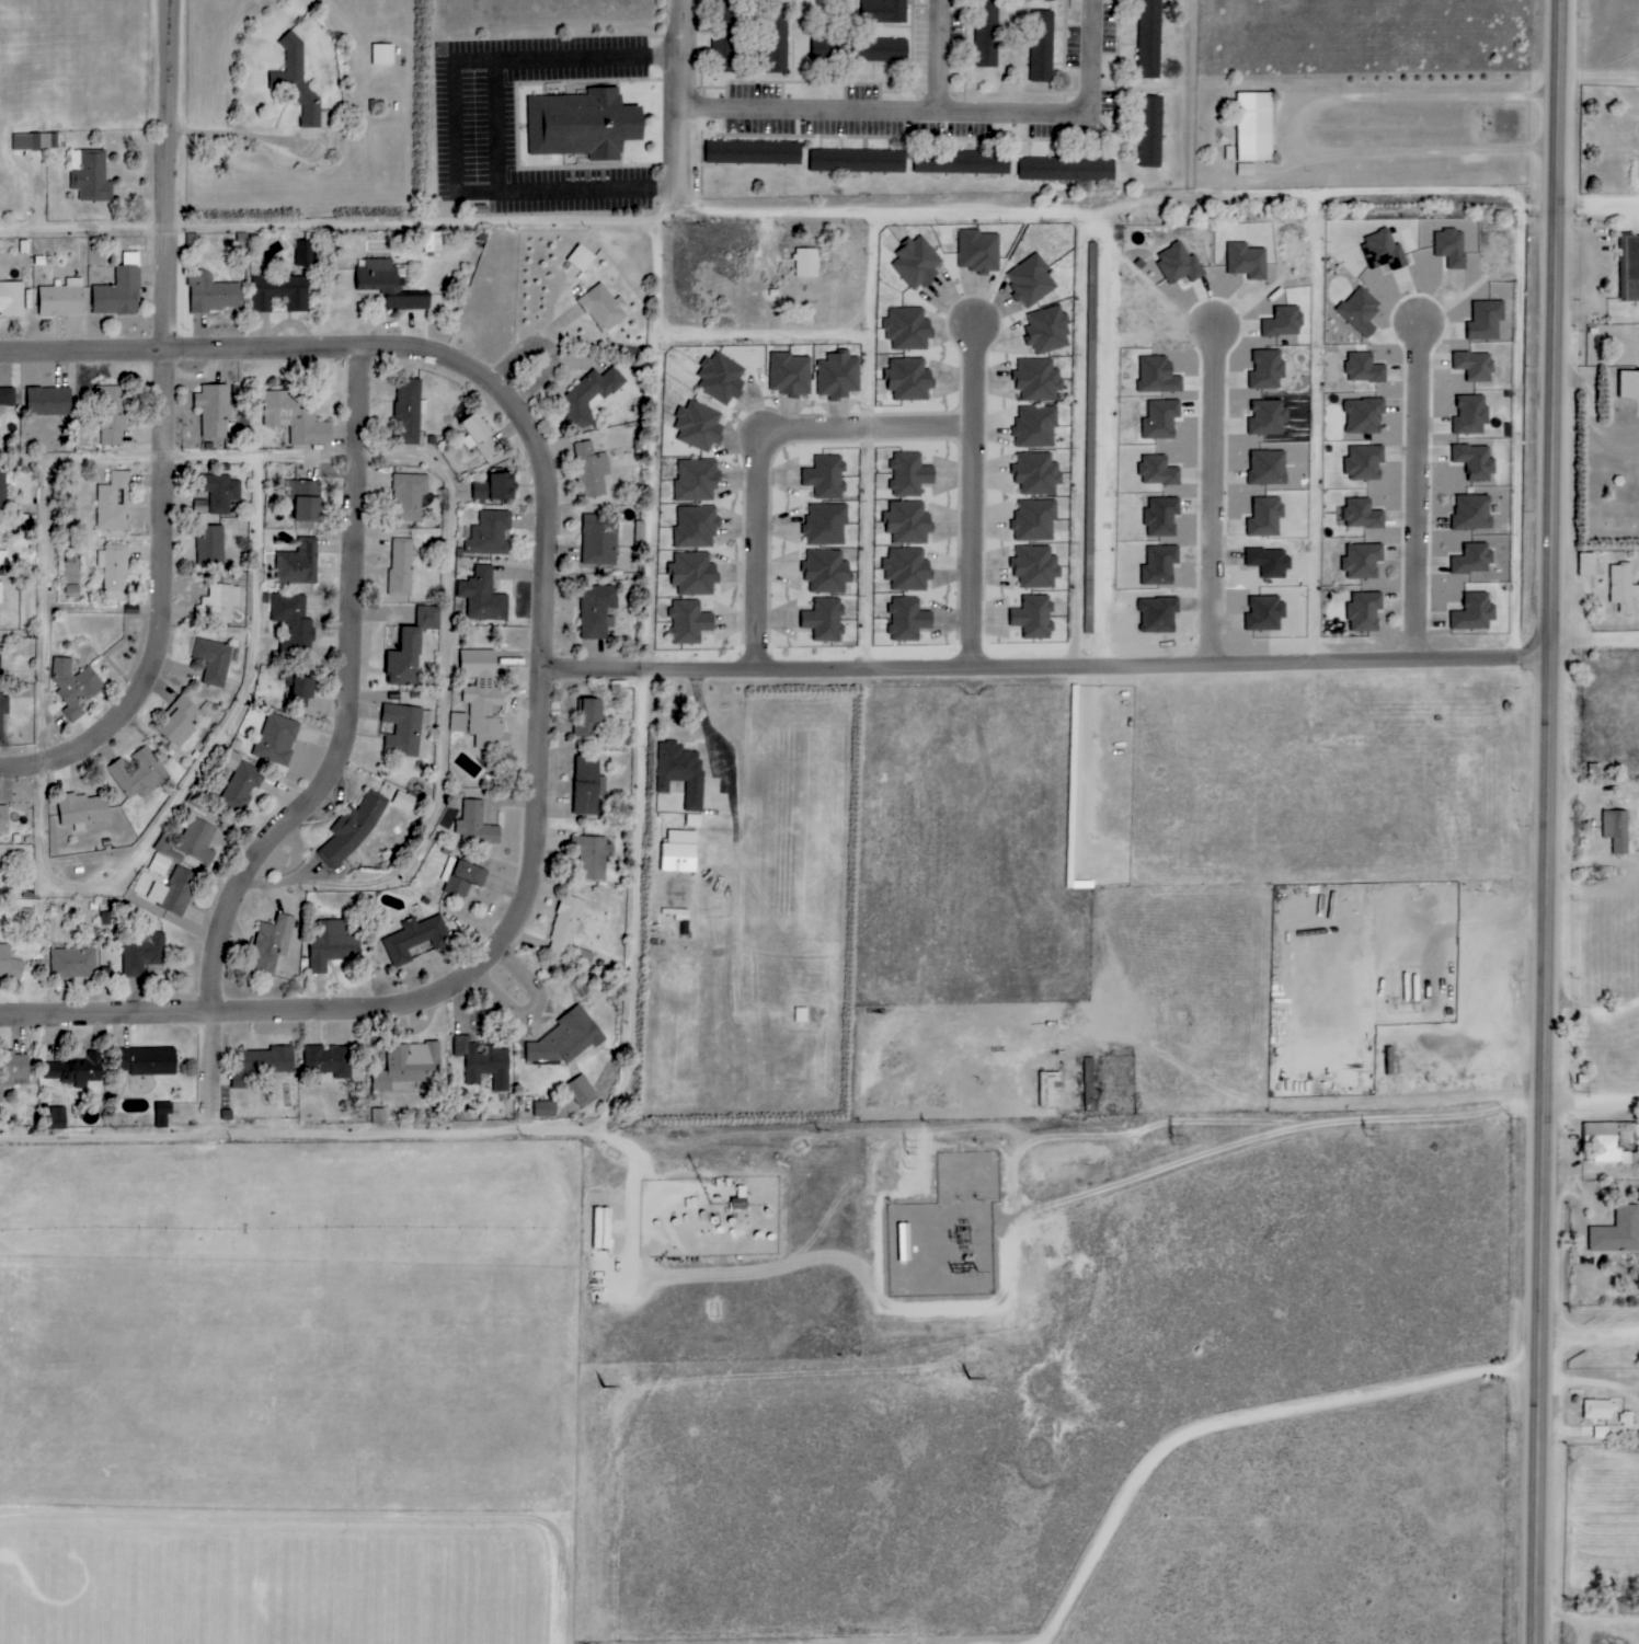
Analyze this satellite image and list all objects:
building: (1044, 0)
building: (885, 11)
building: (987, 33)
building: (723, 36)
building: (1149, 38)
building: (1042, 46)
building: (382, 55)
road: (949, 57)
building: (298, 82)
road: (686, 105)
road: (955, 115)
road: (494, 119)
building: (583, 125)
building: (1254, 127)
road: (1316, 127)
building: (1151, 131)
road: (247, 139)
building: (48, 141)
building: (25, 142)
building: (753, 152)
building: (858, 161)
building: (962, 162)
building: (1067, 170)
building: (90, 175)
road: (1602, 208)
road: (896, 217)
road: (342, 230)
building: (433, 242)
building: (1451, 248)
building: (979, 251)
building: (1384, 251)
building: (305, 253)
building: (1247, 261)
building: (806, 263)
building: (918, 263)
building: (1179, 264)
building: (1631, 266)
building: (1031, 280)
building: (390, 286)
building: (119, 290)
building: (213, 294)
building: (280, 294)
building: (11, 299)
building: (61, 299)
building: (603, 308)
building: (1361, 310)
building: (1486, 320)
building: (1284, 322)
building: (908, 329)
building: (1048, 331)
road: (554, 345)
road: (184, 350)
road: (435, 352)
building: (1475, 366)
building: (1364, 368)
building: (1267, 370)
building: (790, 375)
building: (838, 376)
building: (1157, 376)
building: (721, 378)
building: (909, 380)
building: (1038, 380)
building: (1629, 384)
building: (589, 395)
building: (7, 398)
building: (48, 401)
building: (214, 410)
building: (409, 411)
building: (114, 415)
building: (1471, 415)
building: (1364, 416)
building: (297, 417)
building: (1268, 417)
building: (1161, 419)
building: (698, 426)
building: (1036, 426)
road: (171, 437)
building: (478, 437)
road: (1107, 438)
building: (1092, 445)
road: (756, 447)
road: (57, 460)
building: (1364, 462)
building: (1476, 462)
building: (1268, 468)
building: (224, 469)
building: (592, 471)
building: (1158, 471)
building: (1036, 474)
building: (909, 475)
building: (826, 478)
building: (697, 480)
building: (495, 488)
building: (2, 493)
road: (1417, 493)
building: (218, 494)
road: (970, 495)
building: (410, 497)
road: (1211, 497)
building: (306, 501)
building: (114, 504)
building: (1472, 513)
building: (1363, 514)
building: (1161, 517)
building: (1265, 517)
building: (1035, 520)
building: (908, 524)
building: (826, 525)
building: (697, 527)
building: (490, 534)
building: (600, 540)
building: (210, 545)
building: (3, 557)
building: (1475, 560)
building: (1363, 561)
building: (298, 564)
building: (1160, 565)
building: (1588, 565)
building: (401, 567)
building: (1036, 567)
building: (907, 570)
building: (113, 571)
building: (826, 572)
building: (694, 574)
building: (1623, 587)
building: (1, 593)
building: (482, 598)
building: (218, 605)
building: (597, 611)
building: (1365, 611)
building: (1475, 613)
building: (428, 618)
building: (1034, 618)
building: (825, 620)
building: (908, 620)
building: (294, 621)
building: (689, 622)
road: (1598, 646)
building: (215, 660)
building: (404, 660)
road: (1053, 670)
road: (642, 682)
building: (73, 687)
building: (301, 691)
road: (360, 702)
building: (482, 702)
building: (3, 710)
building: (588, 718)
building: (181, 724)
building: (406, 732)
building: (276, 740)
building: (683, 773)
building: (139, 775)
building: (242, 786)
building: (588, 786)
building: (404, 802)
building: (82, 809)
building: (3, 819)
road: (1555, 821)
building: (478, 826)
building: (353, 828)
building: (1617, 830)
building: (198, 841)
building: (679, 852)
building: (592, 857)
building: (159, 865)
building: (462, 877)
building: (149, 888)
building: (180, 893)
road: (529, 920)
building: (564, 929)
building: (415, 940)
building: (271, 944)
building: (333, 945)
building: (142, 953)
building: (9, 964)
building: (73, 964)
road: (1441, 986)
road: (542, 1013)
building: (566, 1038)
building: (329, 1060)
building: (153, 1061)
building: (483, 1062)
building: (263, 1064)
building: (408, 1065)
building: (12, 1069)
building: (74, 1070)
road: (219, 1079)
building: (1089, 1081)
power tower: (1572, 1088)
building: (1050, 1089)
building: (581, 1091)
road: (1594, 1104)
road: (1315, 1108)
building: (545, 1110)
building: (162, 1115)
building: (379, 1115)
building: (57, 1117)
power tower: (1366, 1136)
road: (378, 1138)
power tower: (1170, 1138)
building: (1606, 1145)
power tower: (904, 1147)
power substation: (965, 1176)
building: (1617, 1232)
road: (1593, 1336)
building: (1597, 1410)
building: (1626, 1419)
road: (1243, 1422)
building: (1602, 1433)

